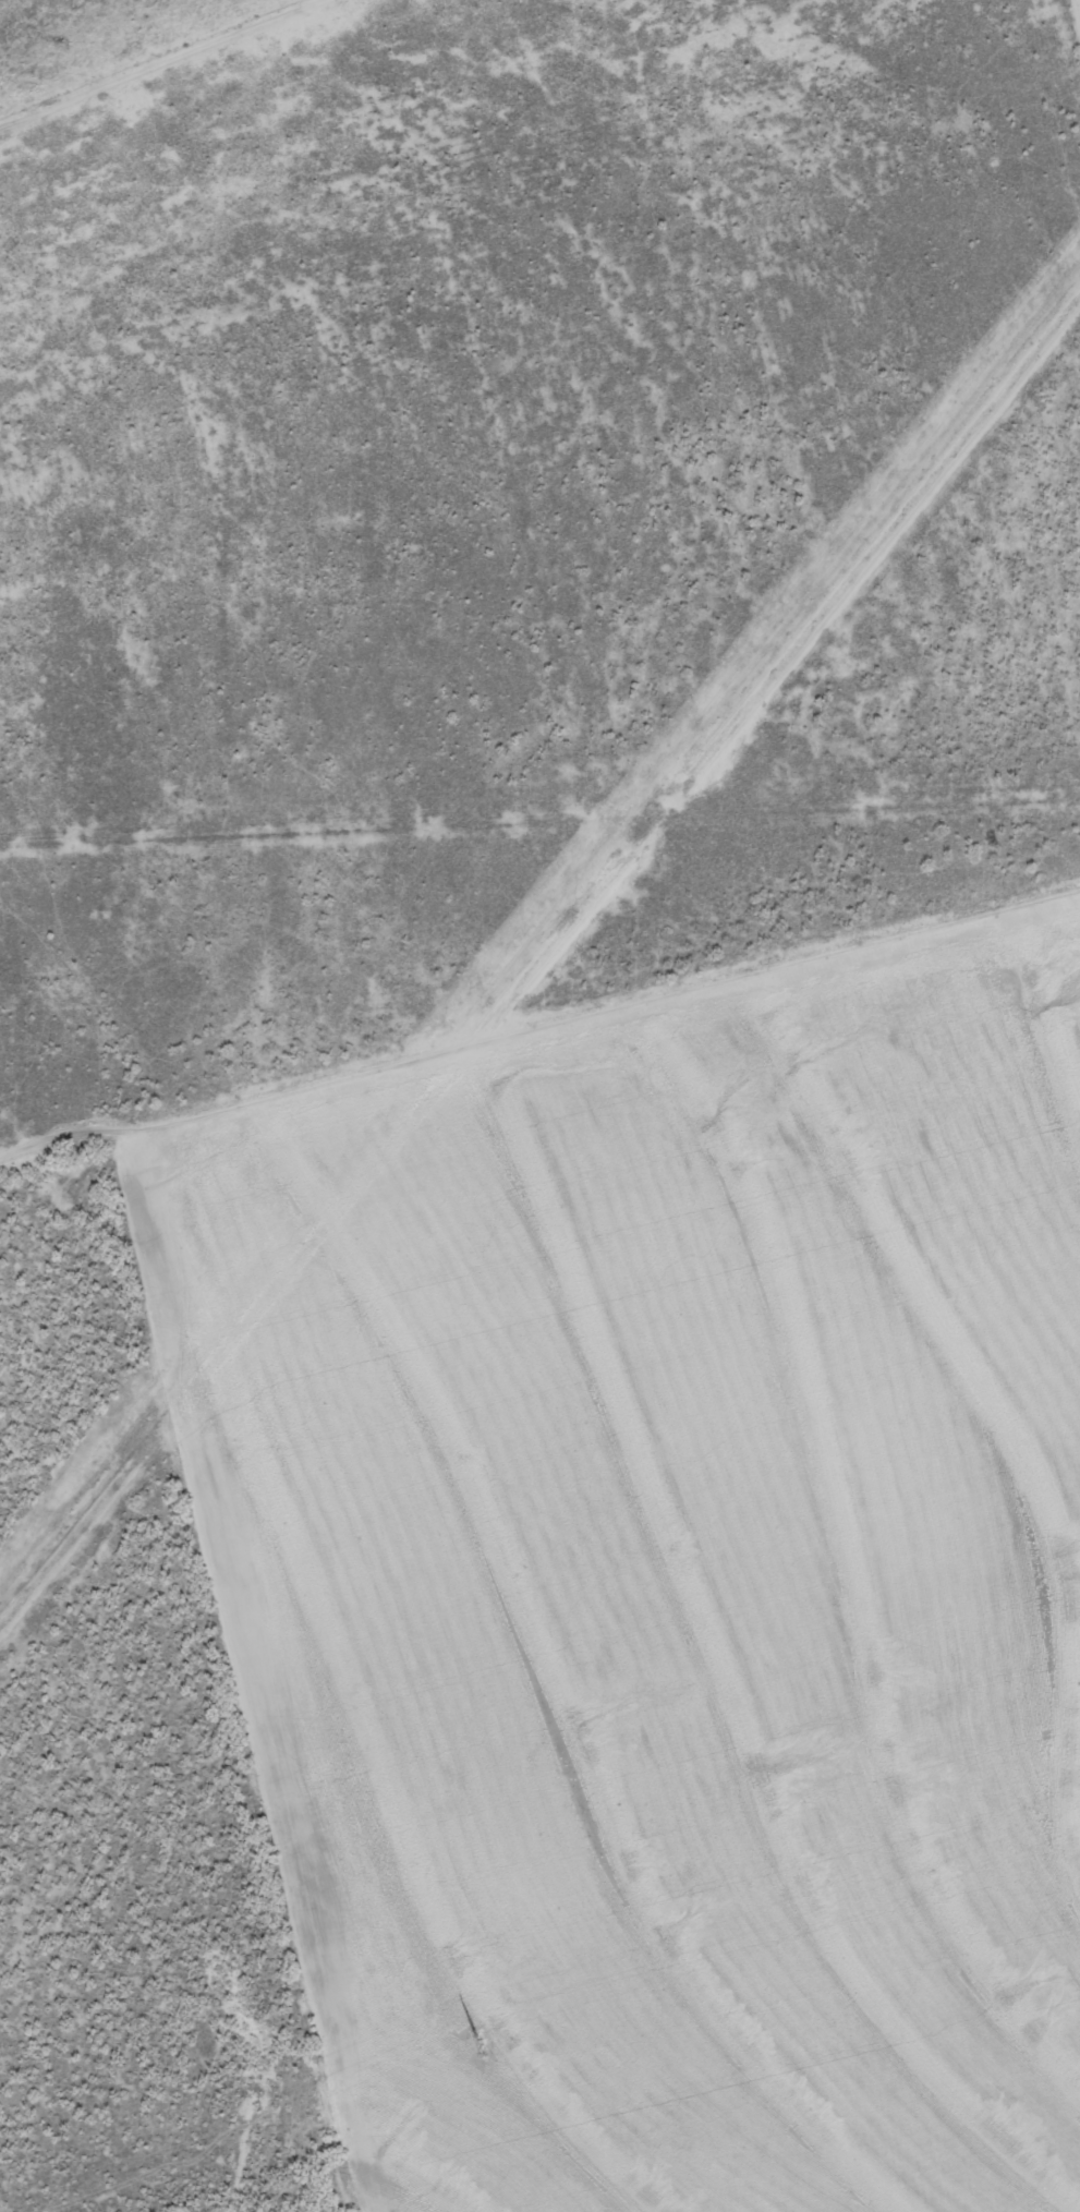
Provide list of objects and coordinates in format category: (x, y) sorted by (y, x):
power tower: (482, 2043)

